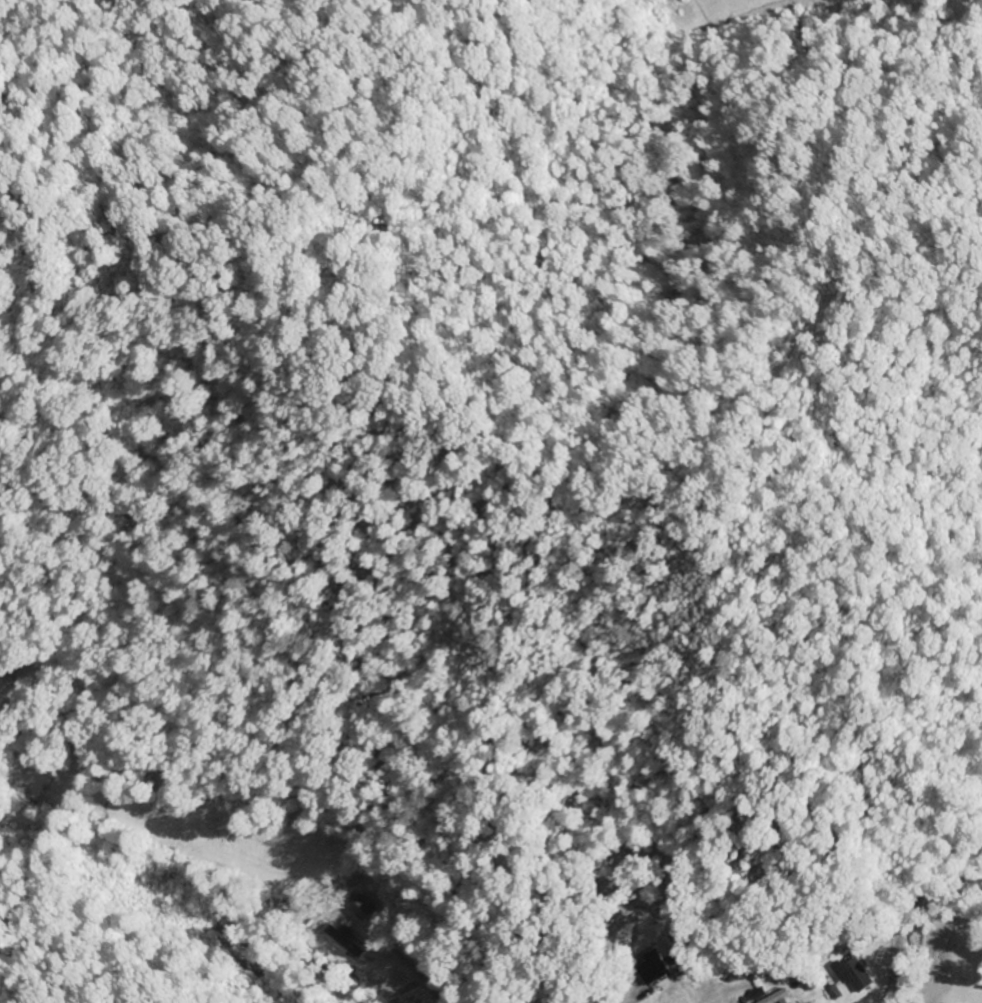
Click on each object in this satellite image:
building: (359, 909)
road: (923, 938)
building: (657, 967)
building: (858, 973)
building: (835, 993)
building: (773, 995)

